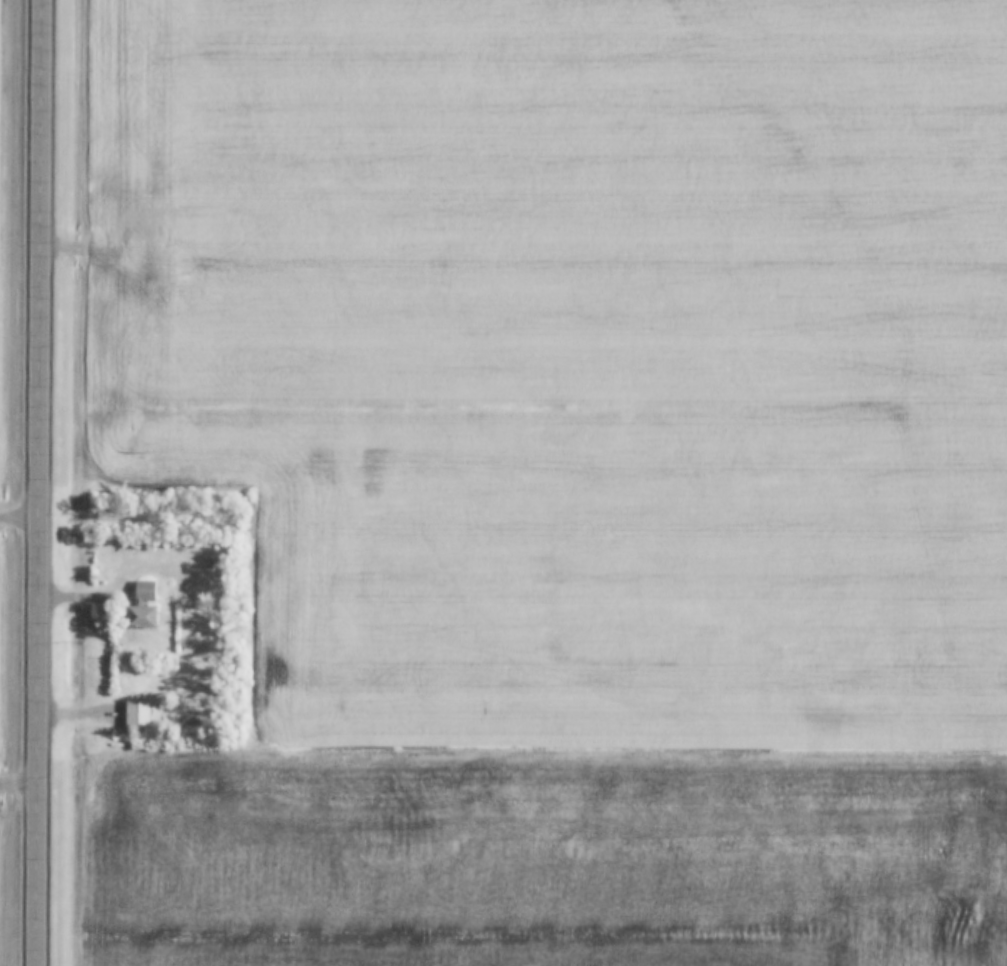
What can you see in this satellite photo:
road: (39, 482)
road: (19, 520)
building: (146, 590)
building: (143, 616)
building: (138, 714)

